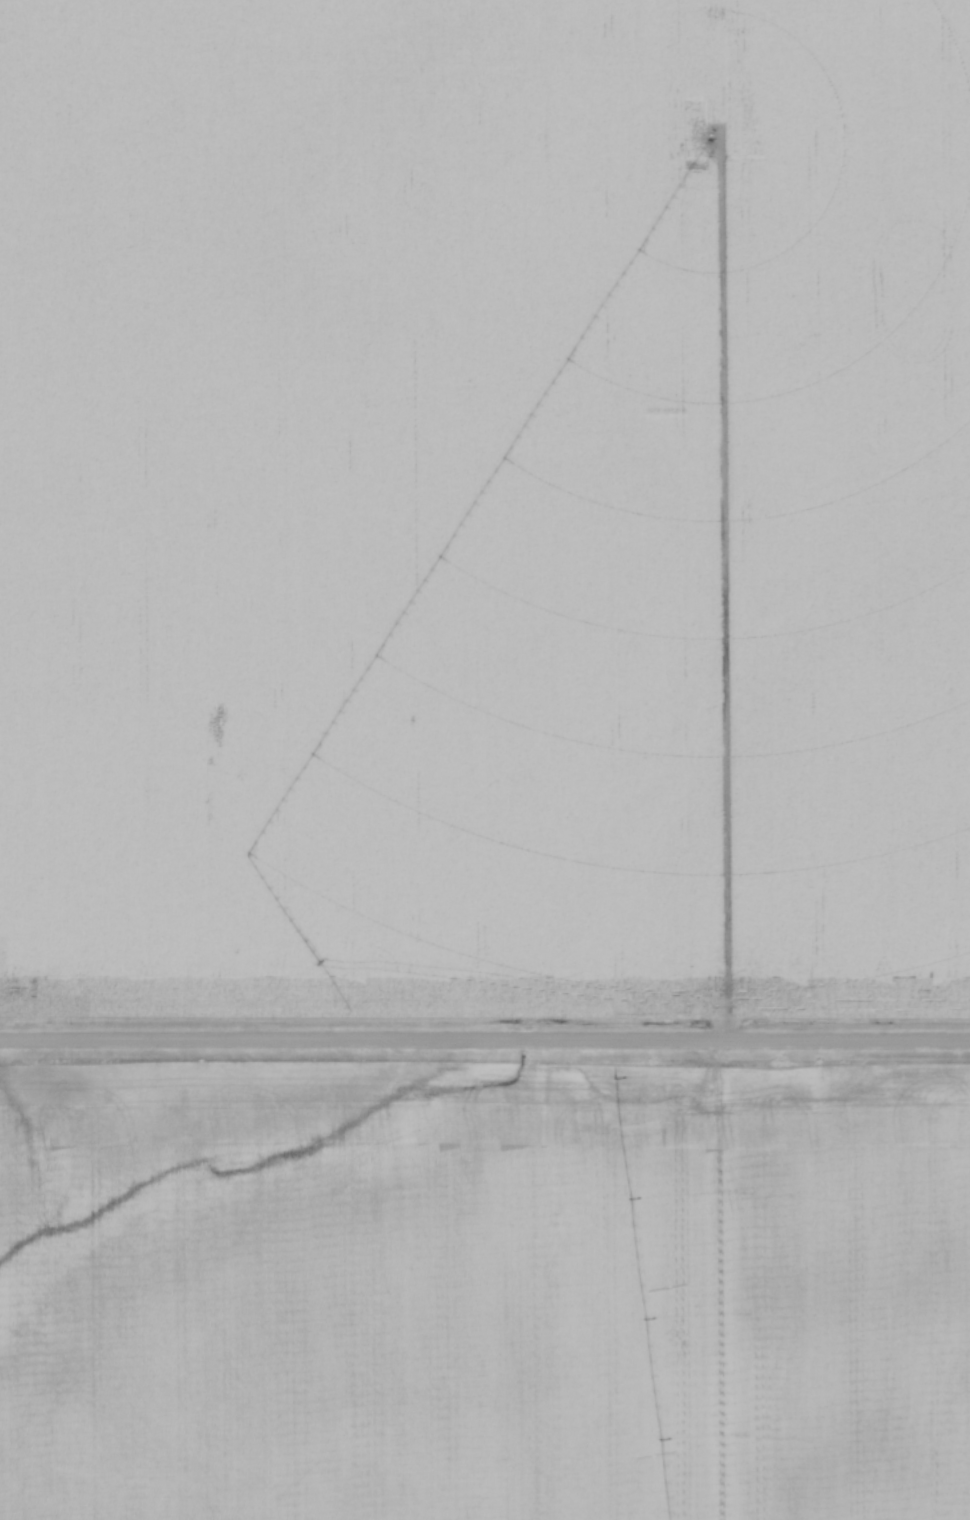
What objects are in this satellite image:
road: (484, 1043)

